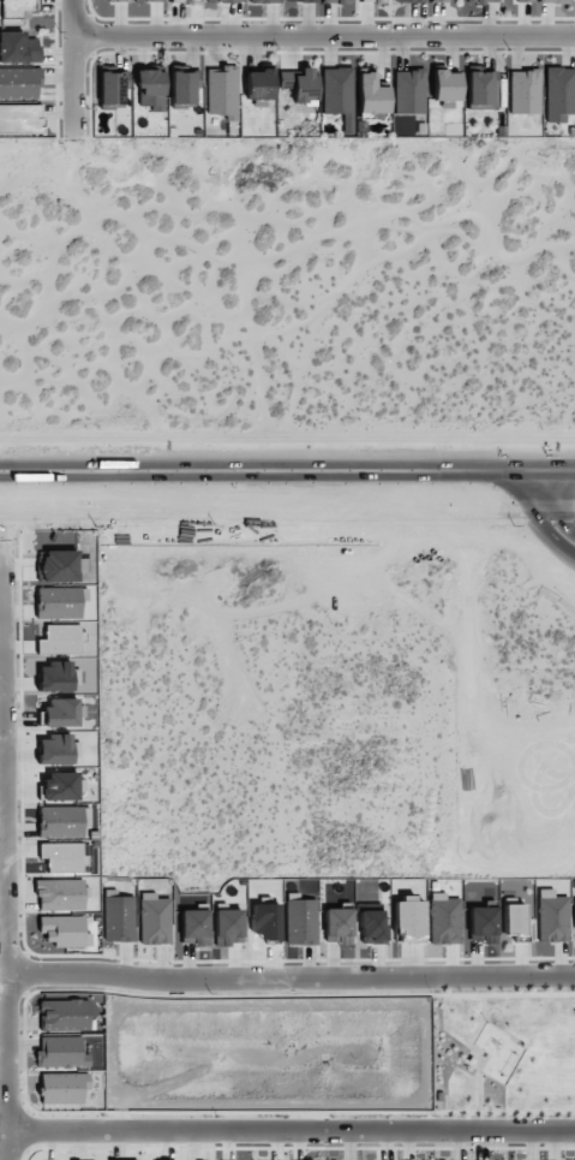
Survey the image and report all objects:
building: (120, 0)
building: (148, 0)
building: (185, 0)
building: (301, 0)
building: (373, 0)
building: (443, 0)
building: (525, 0)
building: (224, 1)
building: (264, 1)
building: (336, 1)
building: (409, 1)
building: (481, 1)
building: (553, 1)
building: (14, 11)
road: (323, 36)
building: (18, 48)
road: (71, 64)
building: (19, 83)
building: (259, 84)
building: (300, 85)
building: (445, 85)
building: (151, 88)
building: (184, 88)
building: (112, 90)
building: (481, 90)
building: (222, 91)
building: (408, 91)
building: (523, 91)
building: (371, 94)
building: (559, 94)
building: (337, 95)
building: (20, 119)
road: (287, 474)
road: (287, 512)
building: (59, 565)
building: (58, 602)
building: (54, 677)
building: (59, 713)
building: (56, 750)
building: (59, 786)
building: (60, 821)
building: (551, 916)
building: (118, 918)
building: (514, 918)
building: (154, 920)
building: (444, 920)
building: (300, 922)
building: (483, 924)
building: (337, 926)
building: (372, 926)
building: (574, 926)
building: (194, 927)
building: (62, 930)
road: (287, 978)
building: (64, 1015)
building: (61, 1053)
building: (62, 1088)
road: (0, 1105)
road: (287, 1125)

